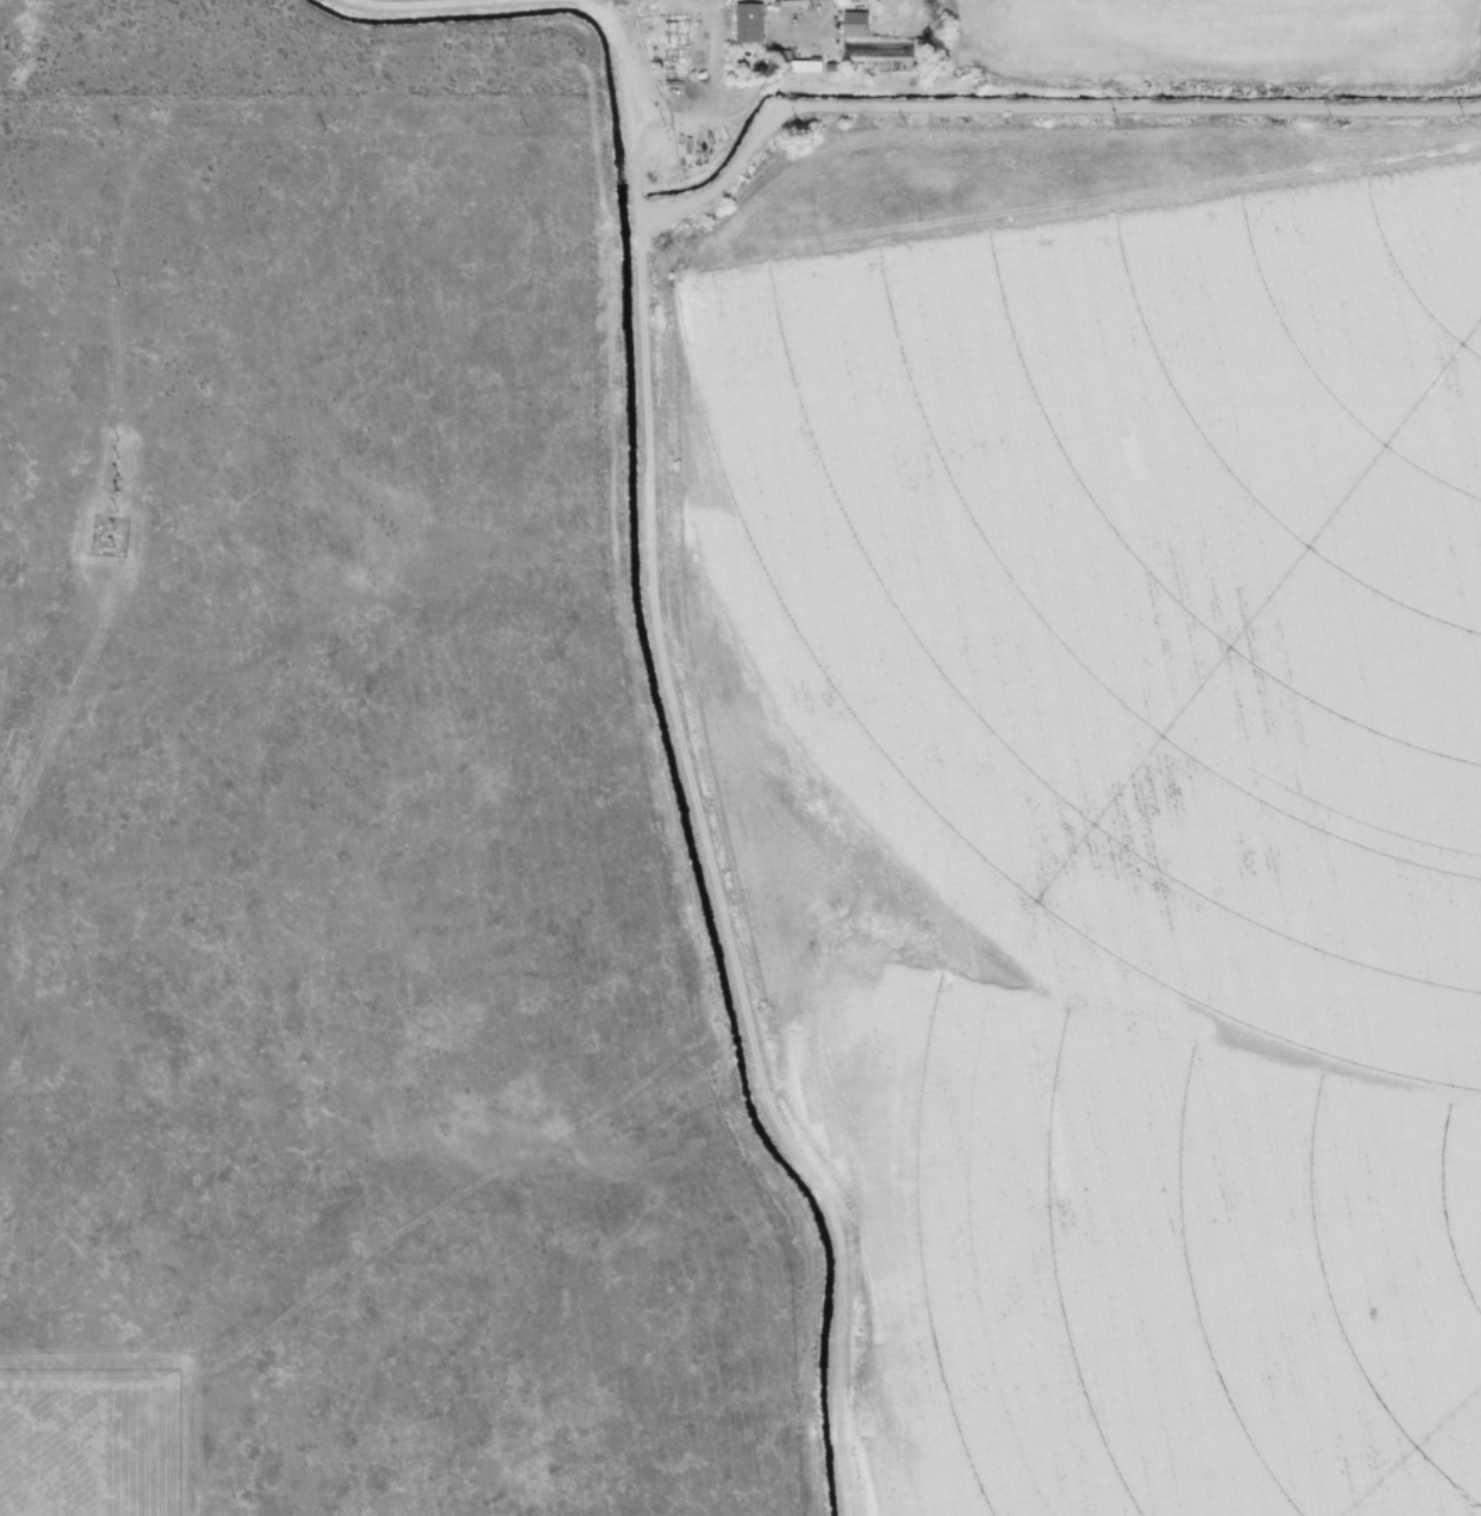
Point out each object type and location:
road: (415, 4)
building: (747, 23)
building: (853, 26)
building: (803, 66)
road: (708, 105)
road: (922, 105)
crop: (1142, 820)
solar farm: (91, 1443)

